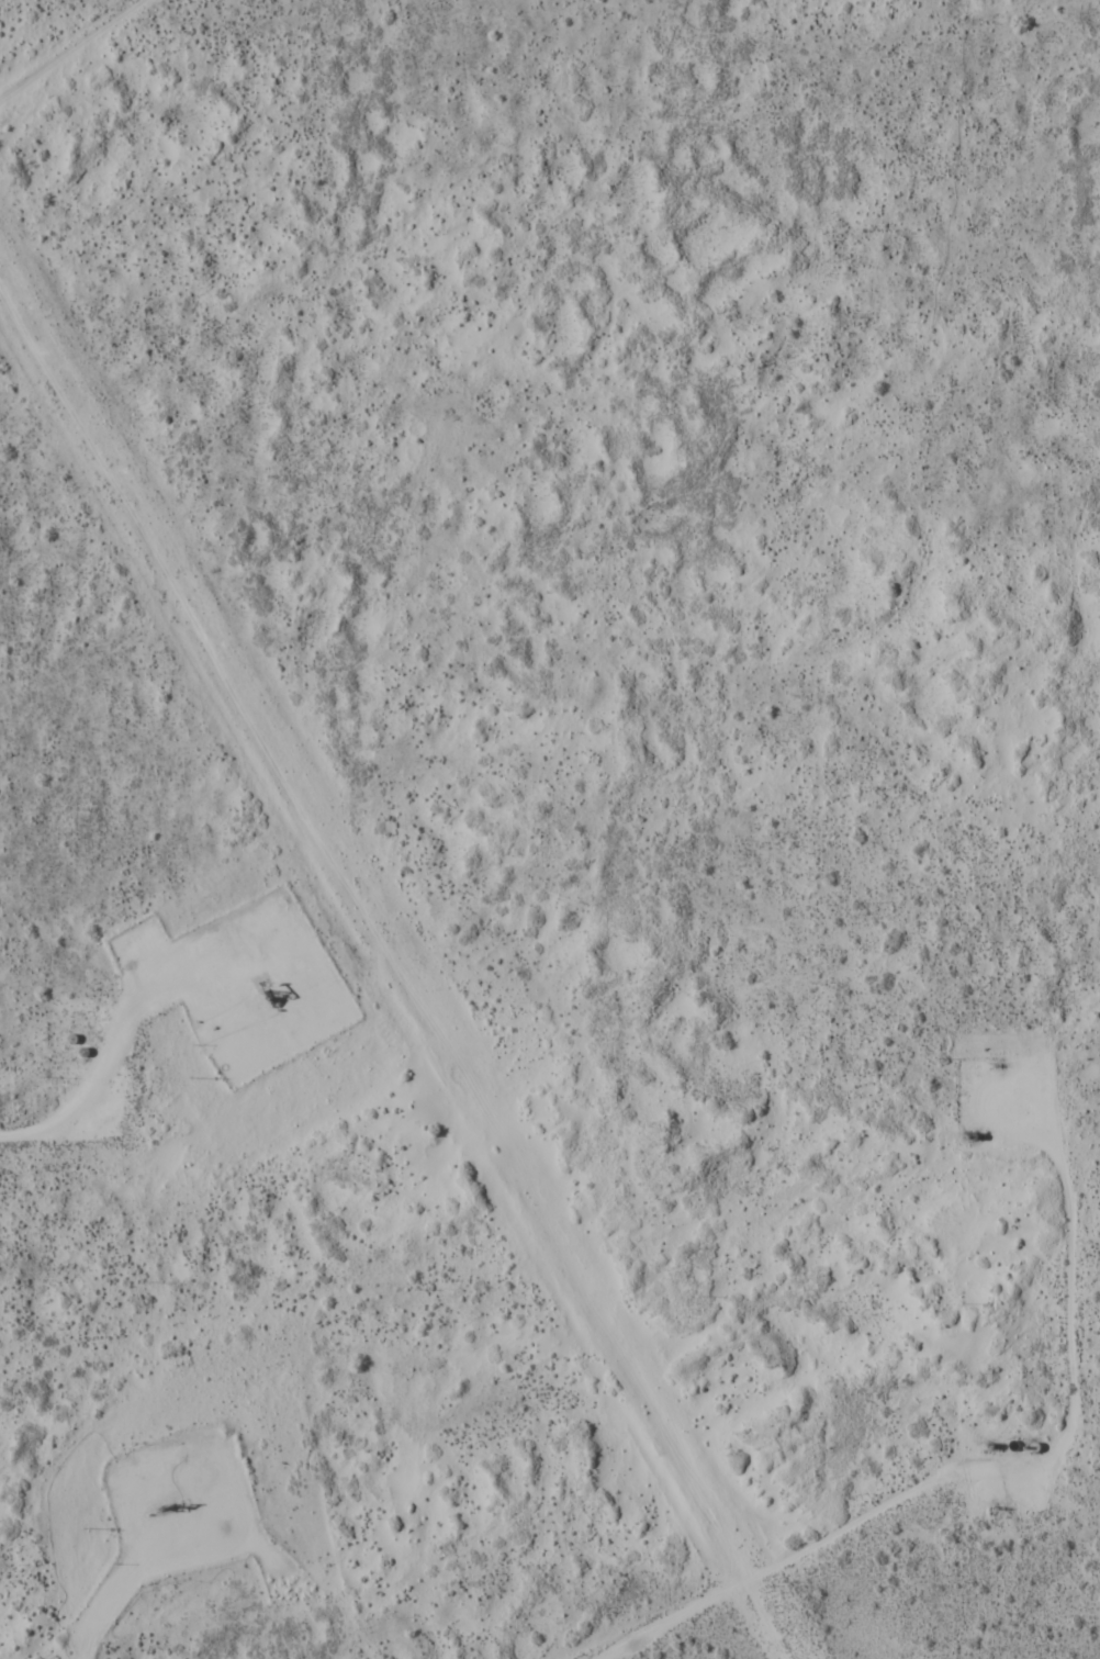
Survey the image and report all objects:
road: (205, 1013)
road: (985, 1468)
road: (91, 1604)

